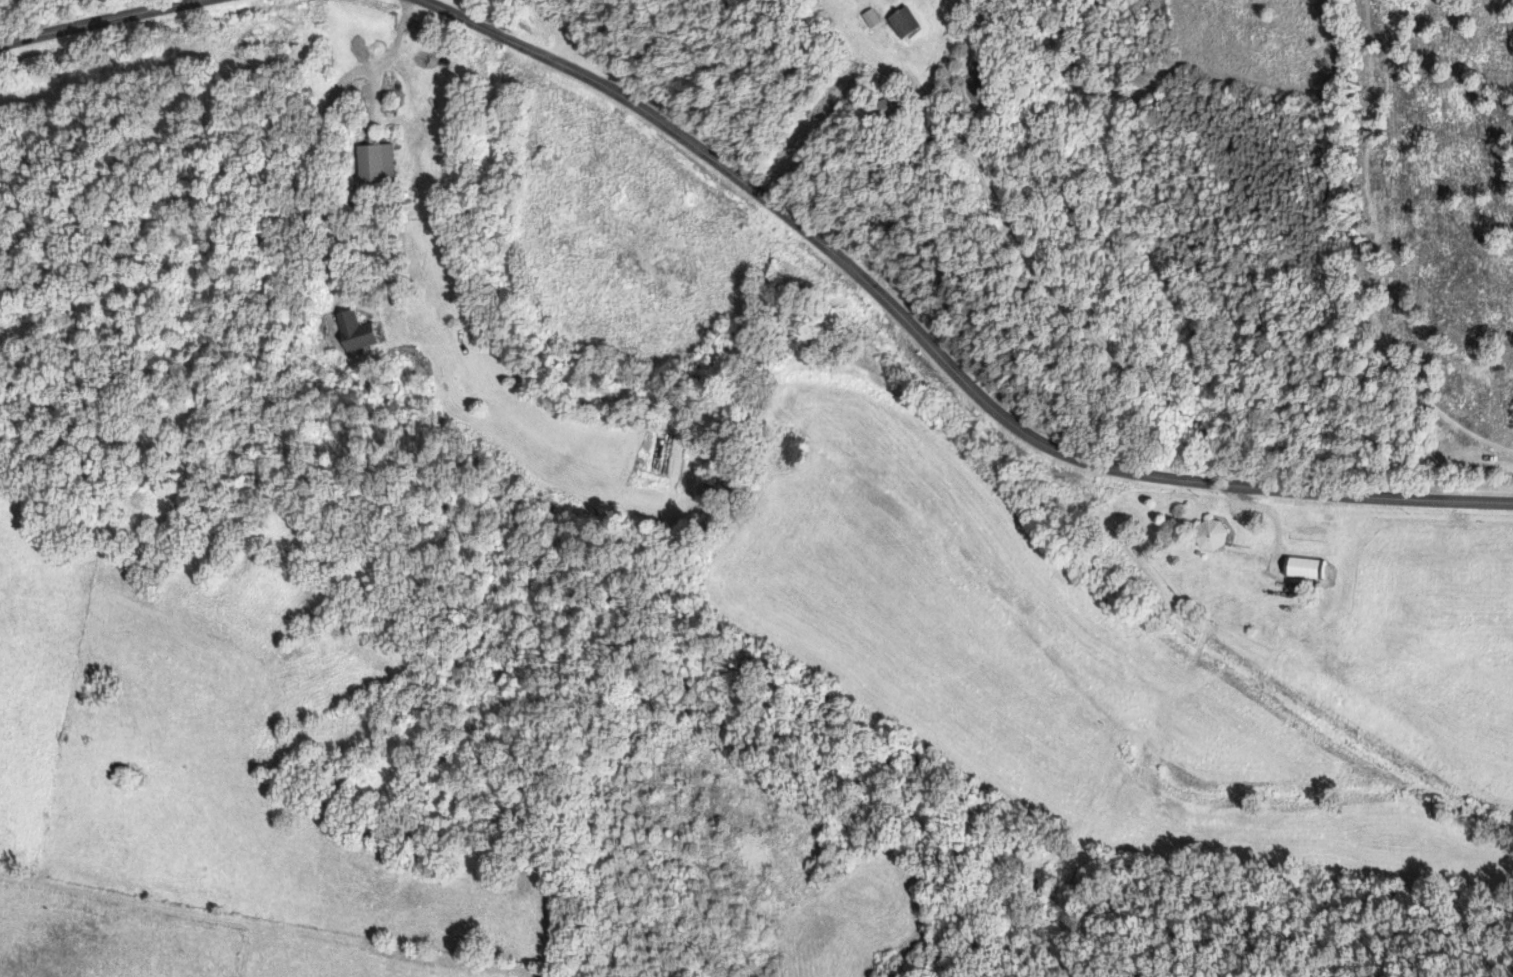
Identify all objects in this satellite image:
building: (868, 17)
road: (88, 18)
building: (900, 22)
road: (566, 34)
road: (317, 134)
building: (381, 163)
building: (364, 330)
road: (936, 346)
road: (1276, 524)
building: (1207, 534)
building: (1298, 567)

